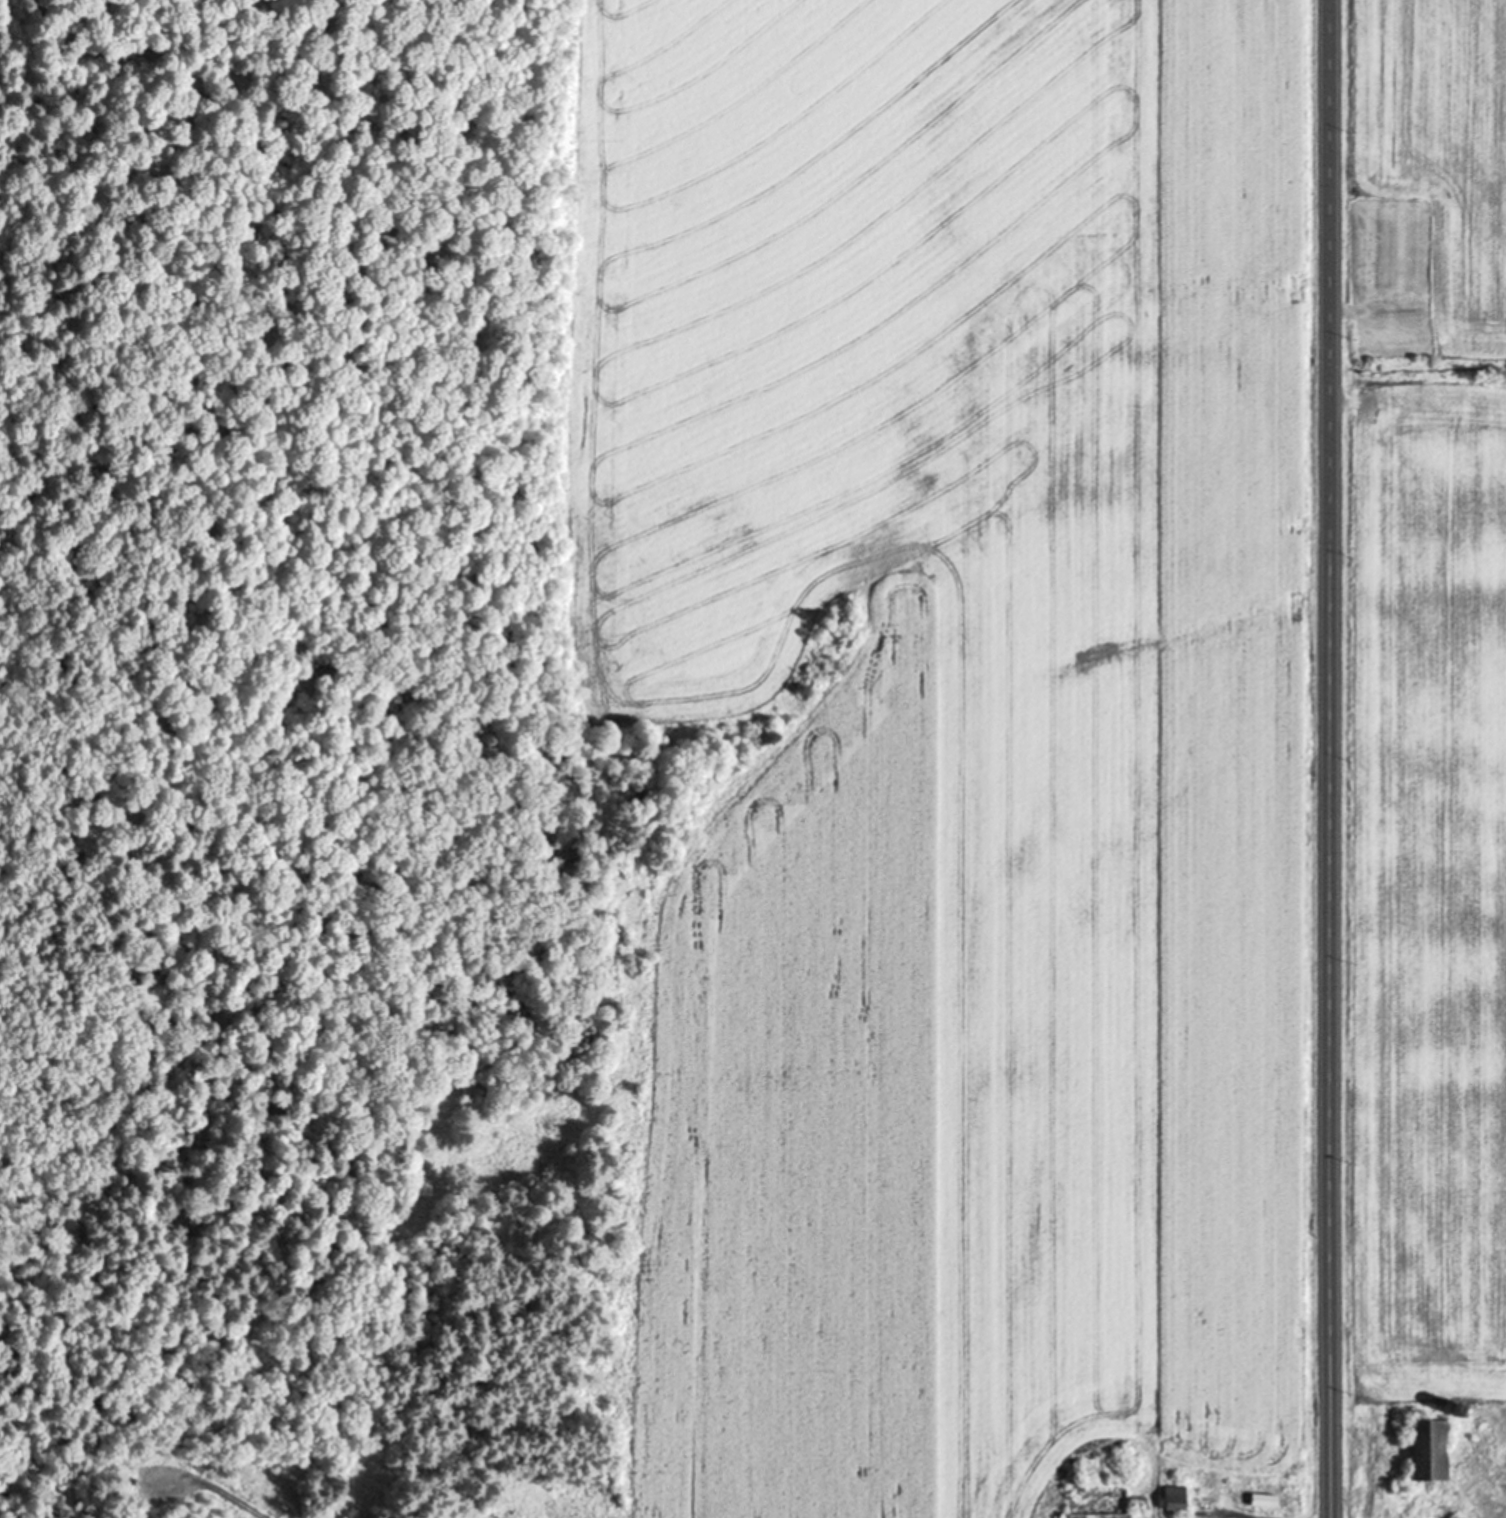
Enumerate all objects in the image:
park: (1387, 283)
road: (1331, 758)
building: (1453, 1402)
building: (1418, 1444)
building: (129, 1485)
building: (1167, 1490)
building: (1256, 1492)
building: (1088, 1499)
building: (1260, 1501)
building: (1170, 1502)
river: (8, 1505)

